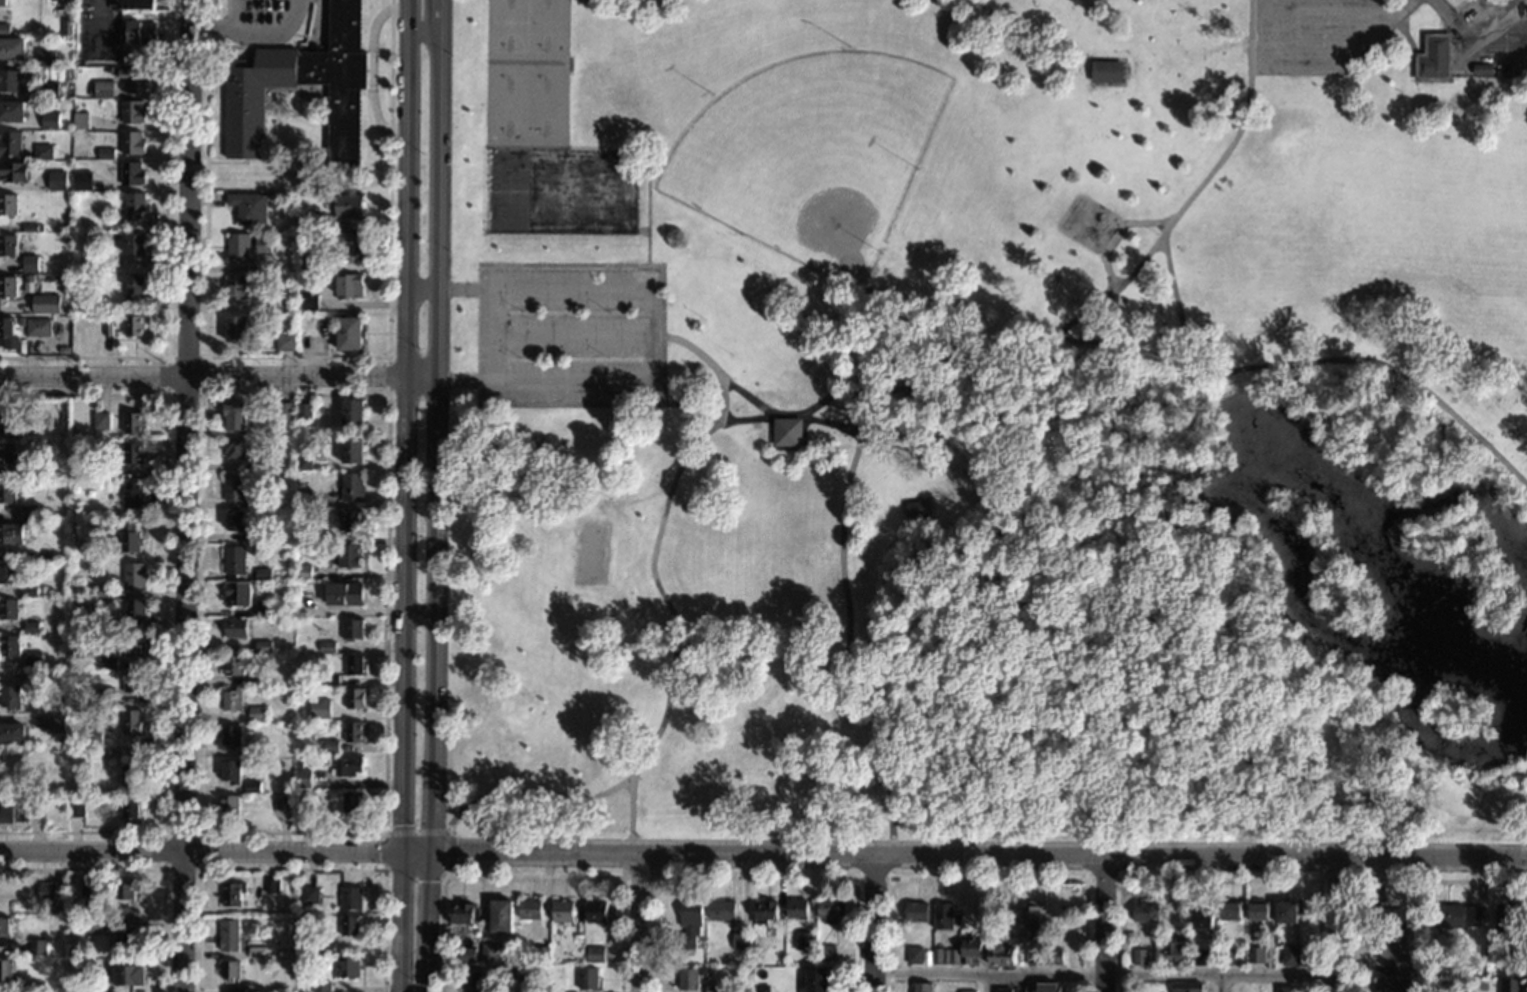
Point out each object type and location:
building: (3, 3)
building: (138, 4)
road: (1395, 7)
road: (439, 11)
road: (233, 14)
road: (320, 19)
parking lot: (263, 20)
building: (68, 27)
building: (4, 28)
road: (272, 29)
road: (423, 29)
building: (142, 32)
road: (1257, 32)
road: (256, 33)
parking lot: (1316, 34)
building: (79, 37)
road: (1264, 44)
road: (238, 47)
building: (12, 48)
building: (46, 57)
building: (1434, 58)
road: (372, 69)
building: (1482, 69)
park: (525, 72)
building: (1106, 72)
building: (134, 78)
building: (9, 80)
building: (261, 85)
building: (51, 89)
building: (104, 89)
building: (69, 92)
building: (12, 111)
building: (133, 111)
building: (51, 120)
building: (82, 120)
building: (133, 142)
building: (10, 143)
building: (44, 152)
building: (107, 153)
park: (810, 155)
building: (15, 171)
building: (133, 173)
building: (58, 180)
building: (83, 180)
park: (508, 192)
park: (583, 192)
building: (9, 204)
building: (135, 205)
building: (348, 205)
building: (249, 207)
road: (648, 208)
building: (319, 222)
building: (34, 227)
building: (112, 228)
building: (115, 236)
road: (1117, 236)
building: (135, 243)
building: (346, 244)
building: (9, 245)
building: (246, 245)
building: (305, 257)
building: (31, 263)
road: (169, 263)
road: (640, 264)
building: (77, 268)
building: (85, 268)
building: (30, 278)
building: (303, 279)
road: (422, 283)
building: (8, 286)
building: (236, 286)
building: (349, 286)
building: (134, 287)
building: (310, 301)
building: (46, 304)
building: (280, 304)
road: (1175, 305)
building: (21, 321)
building: (135, 326)
building: (39, 327)
building: (108, 328)
building: (242, 328)
building: (8, 333)
building: (349, 333)
road: (494, 334)
road: (650, 334)
parking lot: (569, 335)
road: (572, 337)
building: (286, 342)
road: (1099, 344)
road: (296, 357)
road: (707, 361)
road: (388, 376)
road: (220, 377)
road: (923, 385)
road: (205, 393)
road: (205, 394)
road: (748, 397)
building: (21, 403)
road: (628, 404)
road: (890, 406)
building: (286, 411)
building: (305, 411)
building: (353, 411)
building: (236, 415)
building: (8, 420)
building: (102, 420)
park: (988, 420)
building: (134, 422)
building: (787, 431)
building: (235, 447)
building: (300, 448)
building: (353, 450)
building: (9, 452)
building: (134, 453)
building: (304, 462)
building: (262, 465)
building: (29, 474)
building: (93, 474)
building: (111, 474)
building: (235, 487)
building: (353, 487)
building: (8, 492)
building: (133, 494)
building: (304, 495)
road: (401, 495)
road: (187, 496)
building: (264, 496)
road: (438, 507)
building: (301, 508)
building: (914, 508)
building: (29, 511)
building: (235, 519)
building: (349, 520)
building: (11, 533)
building: (260, 535)
building: (303, 535)
building: (130, 537)
park: (589, 551)
building: (28, 556)
building: (349, 556)
building: (235, 560)
building: (304, 571)
building: (8, 573)
building: (264, 574)
building: (135, 577)
building: (30, 591)
building: (105, 591)
building: (344, 593)
building: (238, 594)
building: (303, 603)
road: (848, 607)
building: (264, 608)
building: (9, 609)
building: (136, 609)
road: (166, 612)
road: (419, 614)
building: (31, 627)
building: (111, 627)
building: (237, 628)
building: (353, 628)
building: (134, 645)
building: (9, 646)
building: (264, 646)
building: (327, 646)
road: (673, 653)
building: (33, 660)
building: (109, 662)
building: (234, 664)
building: (355, 664)
building: (27, 678)
building: (329, 679)
building: (257, 681)
building: (315, 681)
building: (134, 682)
building: (10, 696)
building: (106, 696)
building: (355, 698)
building: (233, 699)
building: (320, 708)
building: (257, 714)
building: (132, 721)
building: (58, 723)
building: (354, 731)
building: (12, 733)
building: (96, 735)
building: (231, 735)
building: (328, 745)
building: (255, 751)
building: (95, 755)
building: (56, 756)
building: (299, 764)
building: (348, 765)
building: (231, 771)
building: (132, 775)
building: (302, 778)
building: (253, 786)
building: (352, 801)
building: (279, 803)
building: (35, 805)
building: (230, 805)
road: (630, 807)
building: (76, 808)
building: (131, 808)
building: (7, 809)
building: (297, 824)
road: (438, 830)
road: (200, 833)
road: (763, 857)
road: (143, 869)
road: (292, 869)
road: (394, 871)
road: (622, 873)
road: (530, 876)
road: (891, 876)
road: (756, 878)
road: (988, 879)
road: (1104, 880)
road: (1219, 880)
road: (1336, 882)
road: (1384, 882)
building: (61, 884)
building: (272, 885)
building: (94, 887)
building: (127, 888)
building: (233, 893)
building: (48, 894)
building: (309, 894)
building: (351, 897)
building: (530, 909)
building: (797, 909)
building: (63, 910)
building: (722, 910)
building: (830, 910)
building: (1230, 910)
building: (1258, 910)
building: (562, 911)
building: (596, 911)
building: (764, 911)
building: (916, 912)
building: (1146, 912)
building: (1286, 912)
building: (463, 913)
building: (501, 916)
building: (945, 916)
building: (1390, 916)
building: (1455, 916)
building: (1509, 918)
building: (1202, 920)
building: (1030, 921)
building: (689, 923)
building: (351, 924)
road: (639, 924)
building: (91, 925)
road: (875, 925)
building: (5, 926)
building: (1075, 926)
road: (1104, 926)
road: (1332, 927)
building: (1423, 930)
building: (230, 934)
building: (578, 936)
building: (1221, 936)
building: (126, 937)
building: (741, 941)
building: (806, 941)
building: (324, 945)
building: (39, 947)
building: (1515, 948)
building: (970, 949)
building: (999, 951)
building: (1394, 951)
building: (257, 952)
building: (490, 952)
building: (826, 952)
building: (1305, 953)
building: (467, 954)
building: (542, 954)
building: (595, 954)
building: (1176, 954)
building: (1289, 954)
building: (914, 955)
building: (1033, 955)
building: (1255, 955)
building: (1488, 955)
building: (937, 956)
building: (945, 956)
building: (954, 956)
building: (1053, 956)
building: (1140, 956)
building: (1199, 957)
building: (1226, 957)
building: (1077, 959)
building: (1522, 965)
building: (349, 966)
building: (7, 969)
building: (231, 969)
building: (737, 969)
building: (520, 972)
building: (129, 974)
road: (1103, 975)
building: (587, 978)
building: (687, 979)
building: (473, 980)
building: (814, 981)
road: (988, 983)
road: (1219, 984)
building: (1393, 984)
building: (1510, 985)
building: (36, 987)
building: (97, 987)
building: (322, 987)
building: (922, 987)
building: (1047, 987)
building: (1186, 987)
building: (236, 989)
building: (712, 989)
building: (761, 989)
building: (1285, 989)
building: (1004, 990)
building: (966, 991)

